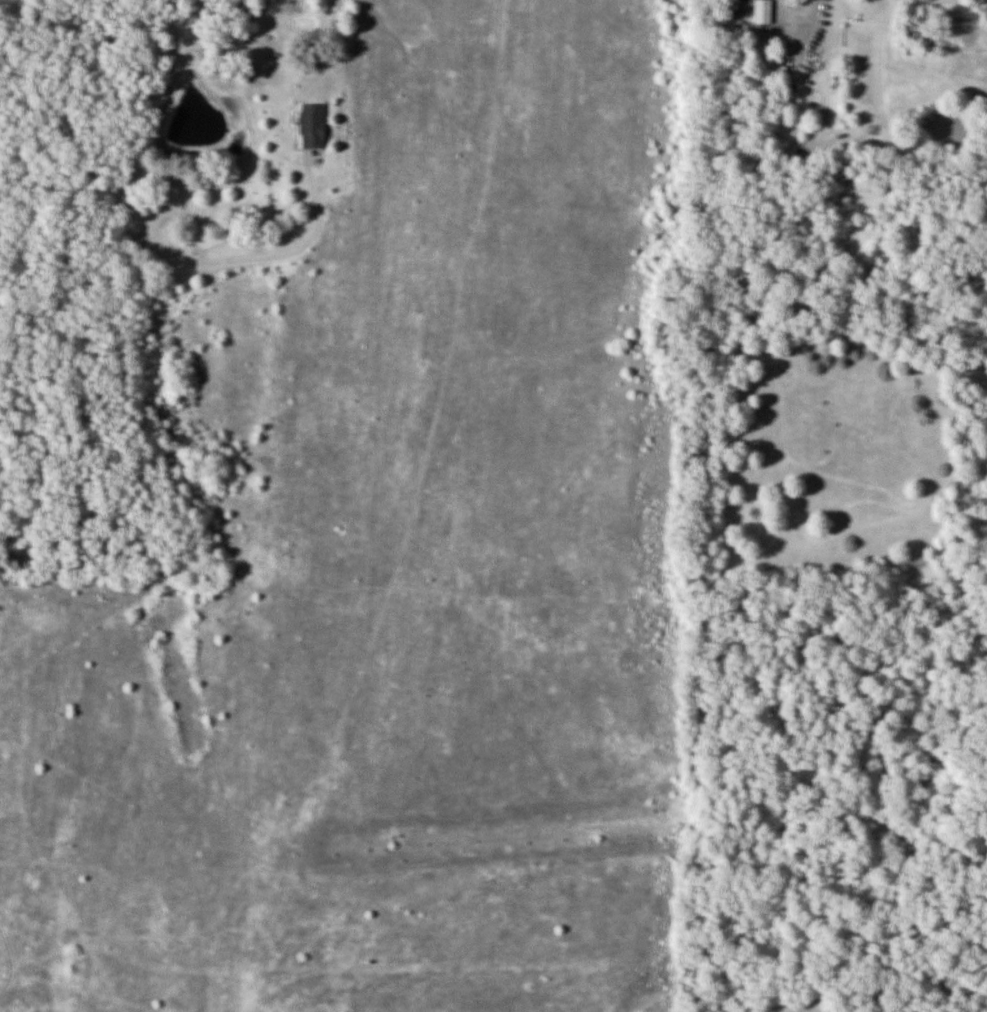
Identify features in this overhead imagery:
building: (750, 9)
building: (314, 124)
road: (151, 222)

